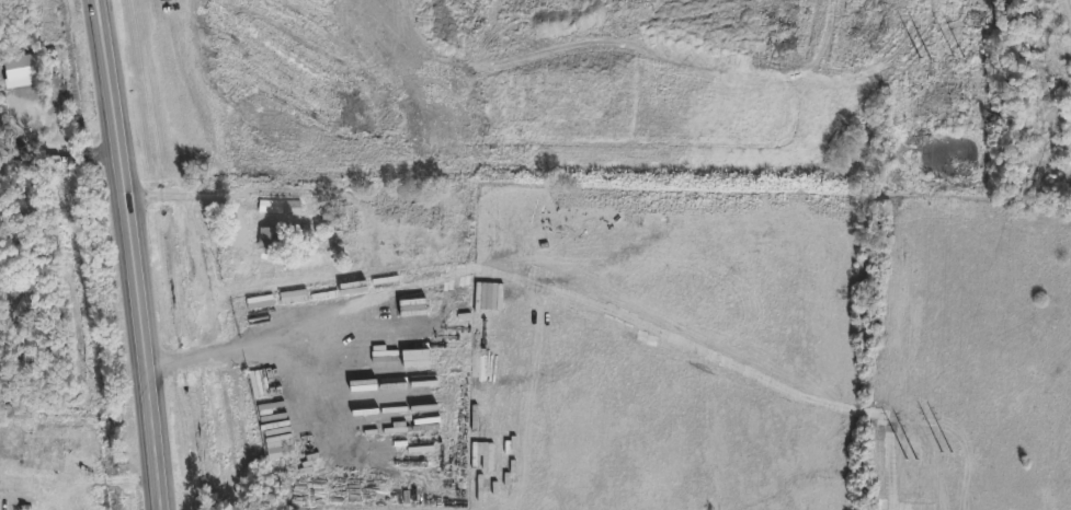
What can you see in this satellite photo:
power tower: (920, 58)
power tower: (959, 63)
road: (186, 197)
building: (289, 208)
building: (266, 239)
road: (126, 254)
power tower: (905, 459)
power tower: (948, 467)

